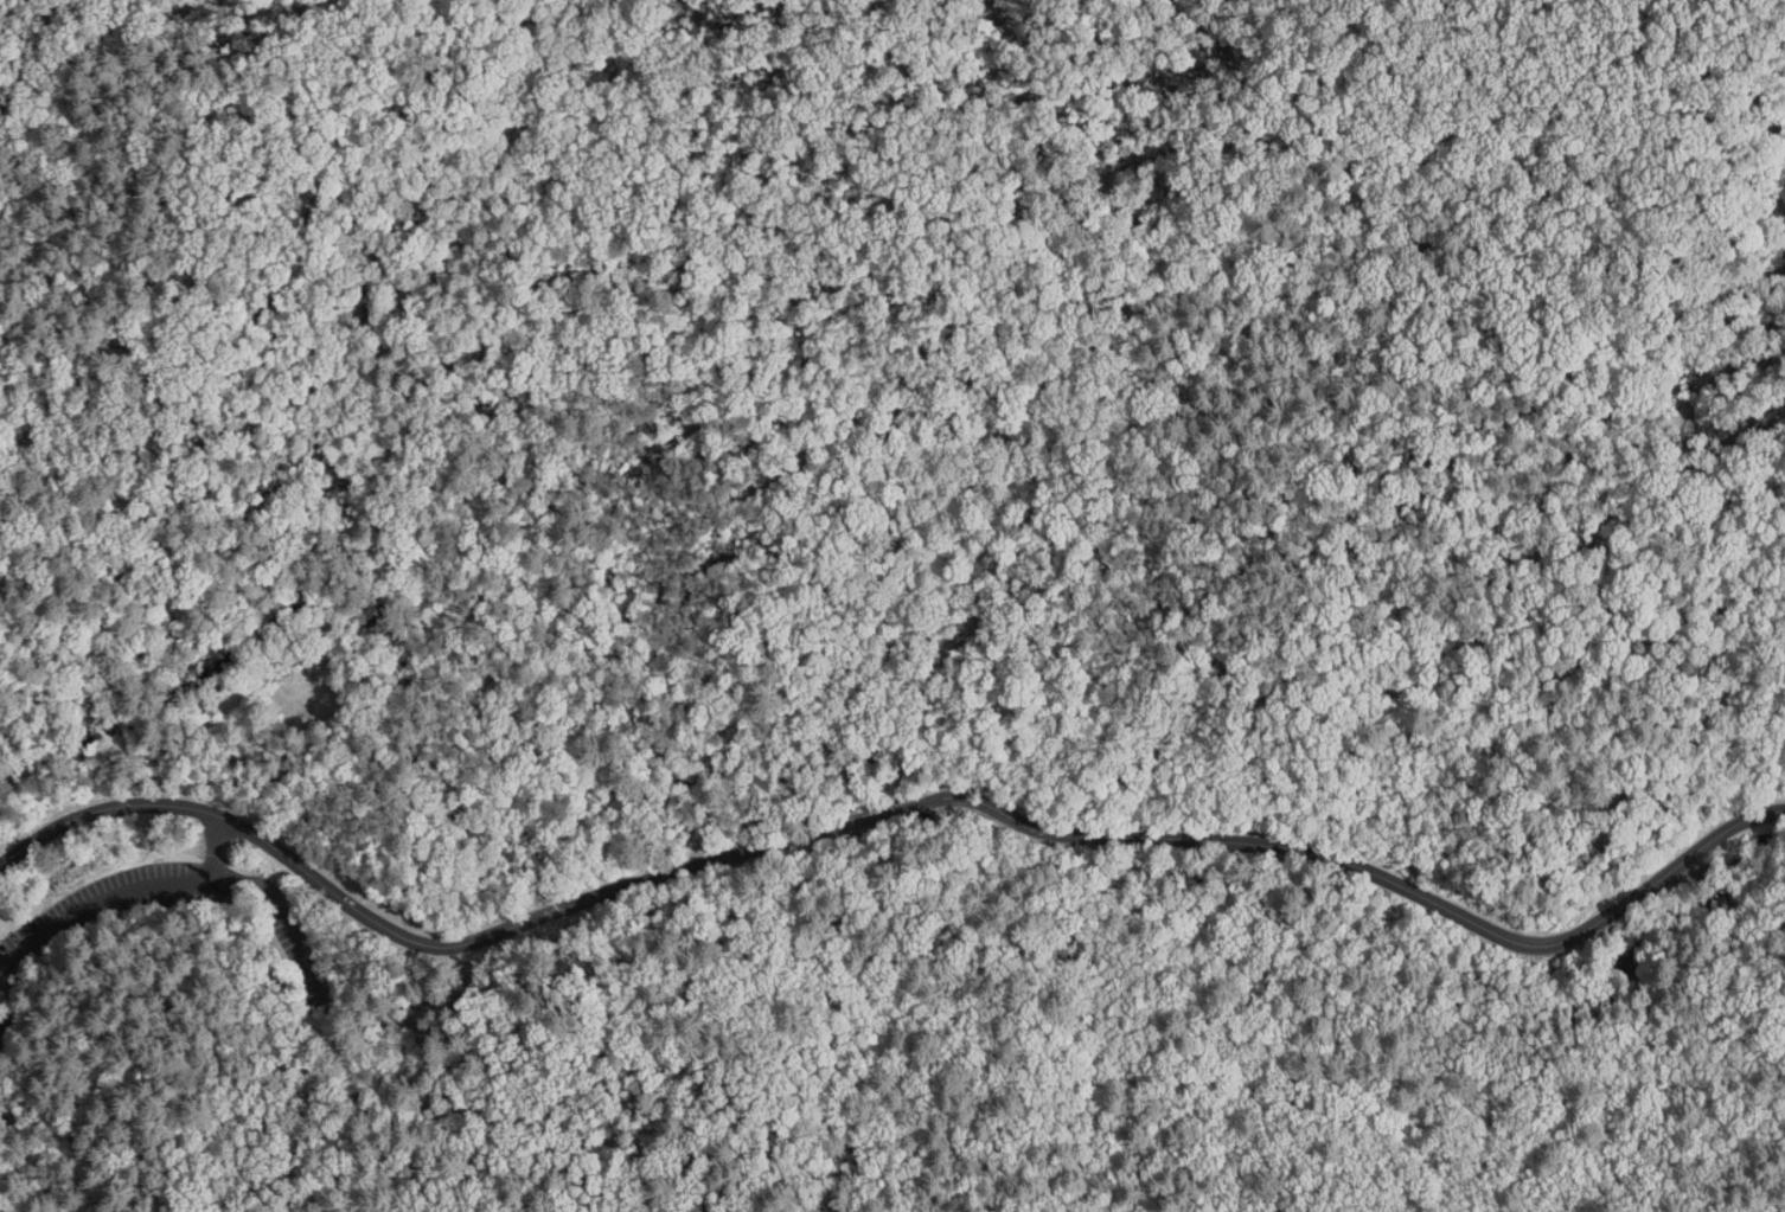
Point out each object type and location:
road: (910, 803)
road: (1740, 817)
road: (218, 847)
road: (1332, 853)
road: (97, 899)
road: (299, 928)
road: (430, 942)
parking lot: (23, 954)
road: (364, 1124)
road: (23, 1142)

